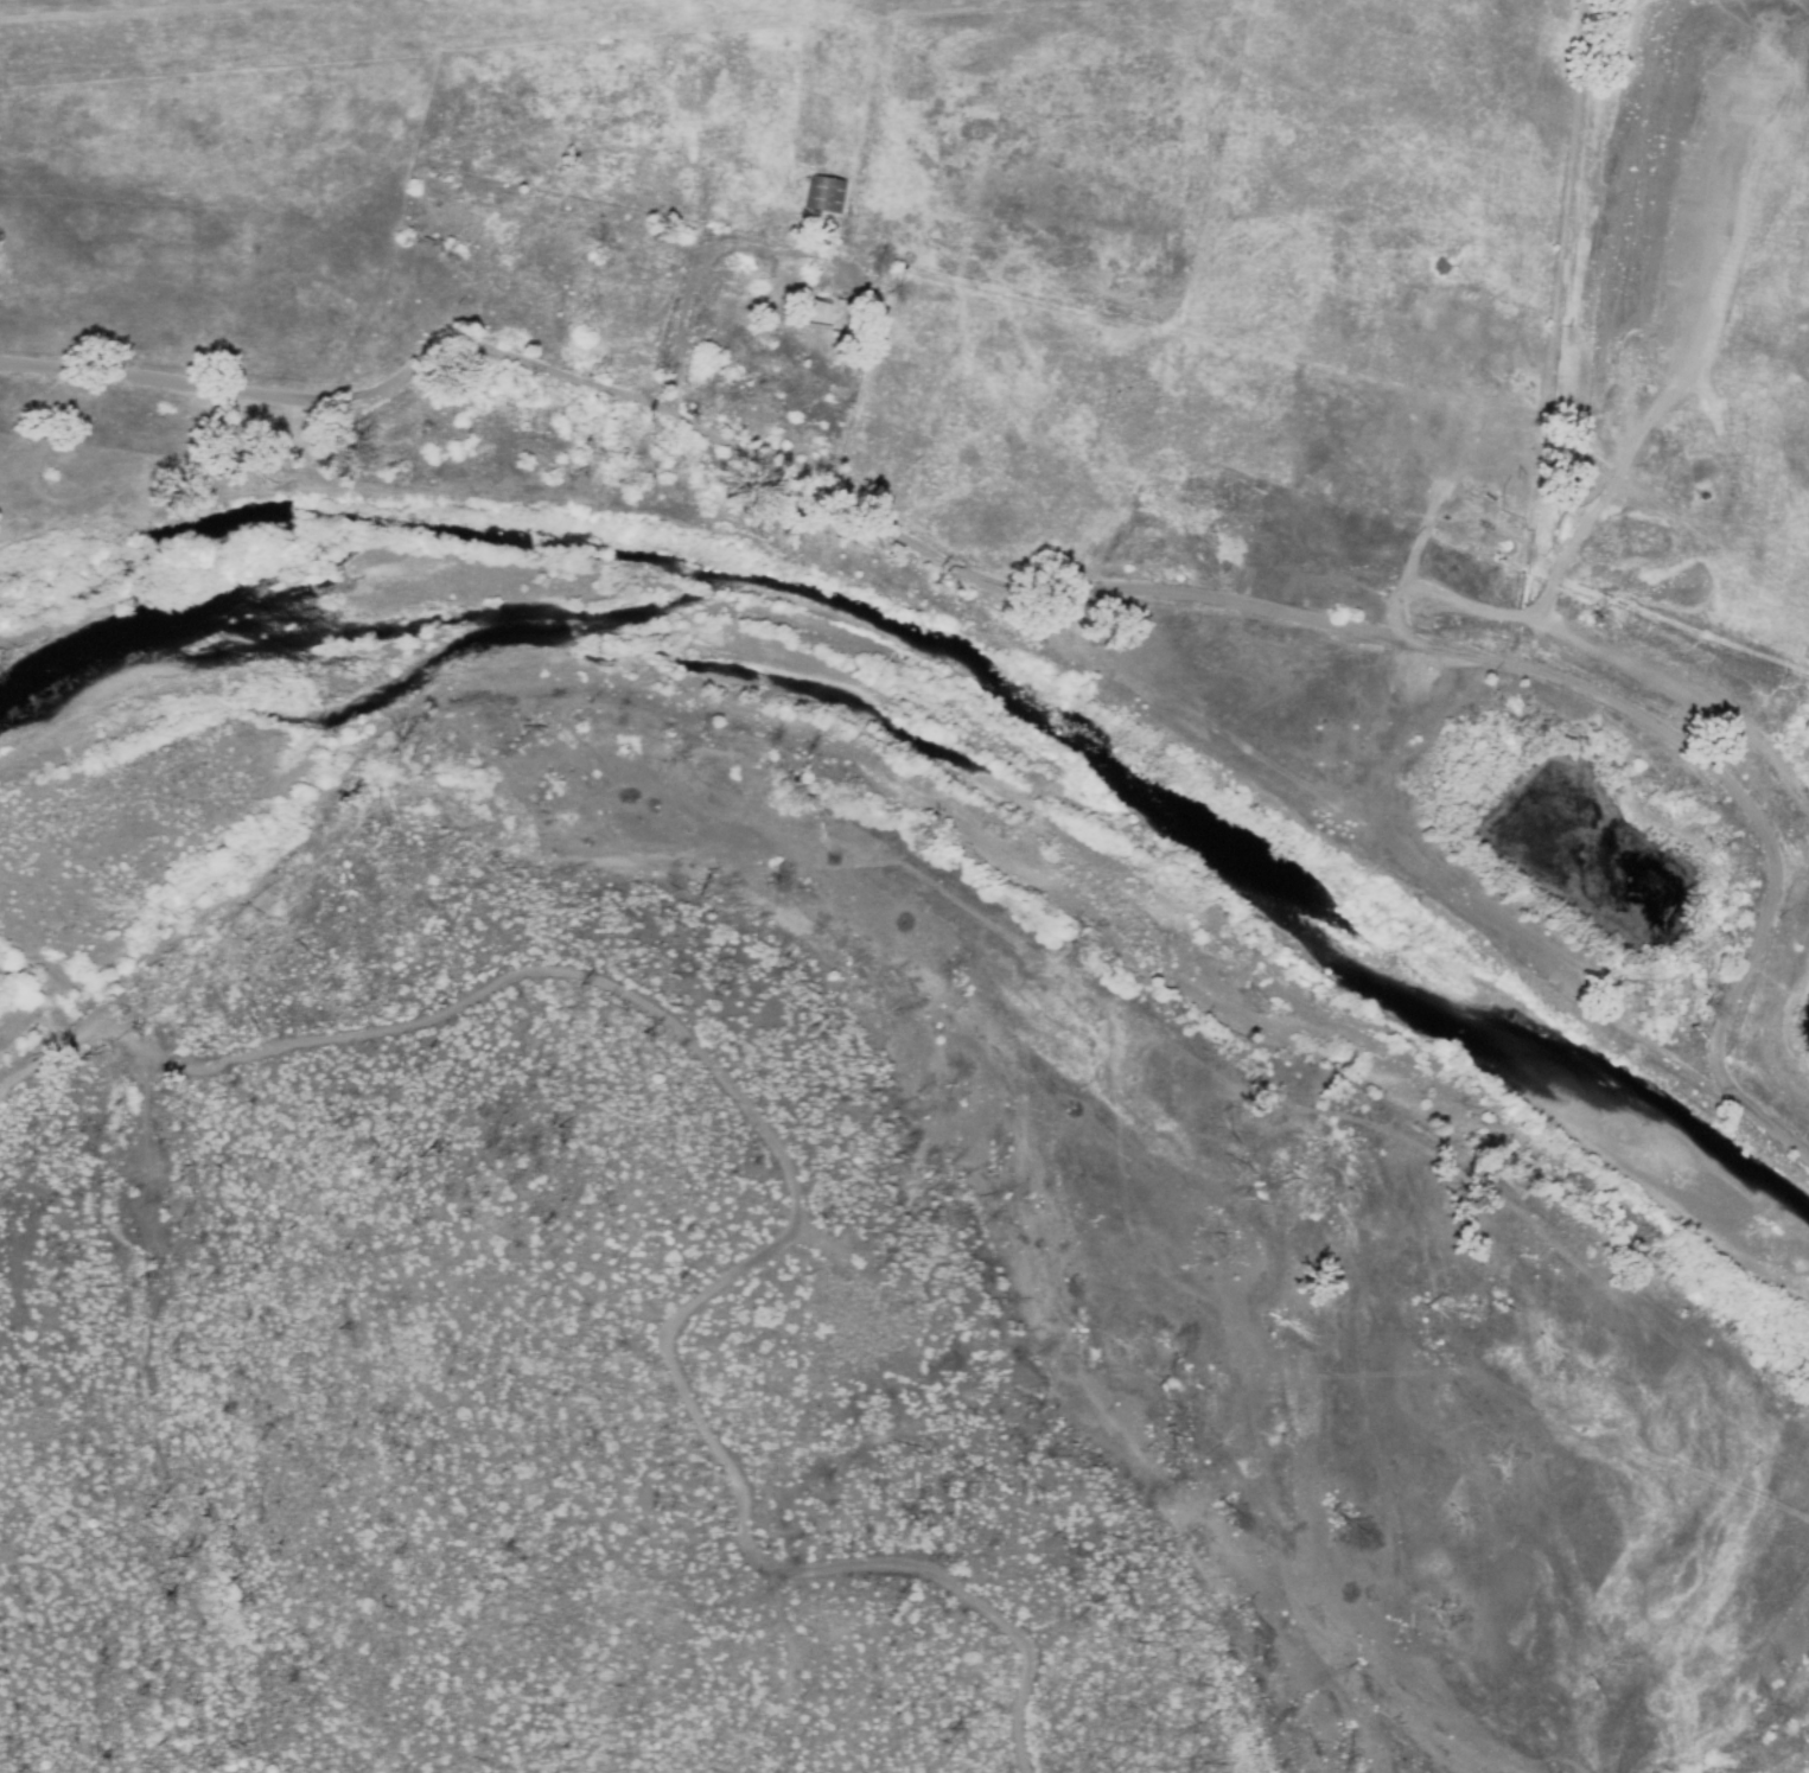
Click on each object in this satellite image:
building: (827, 193)
building: (816, 310)
building: (579, 323)
road: (1543, 376)
building: (814, 388)
building: (1200, 487)
road: (1078, 588)
road: (786, 1172)
road: (120, 1244)

